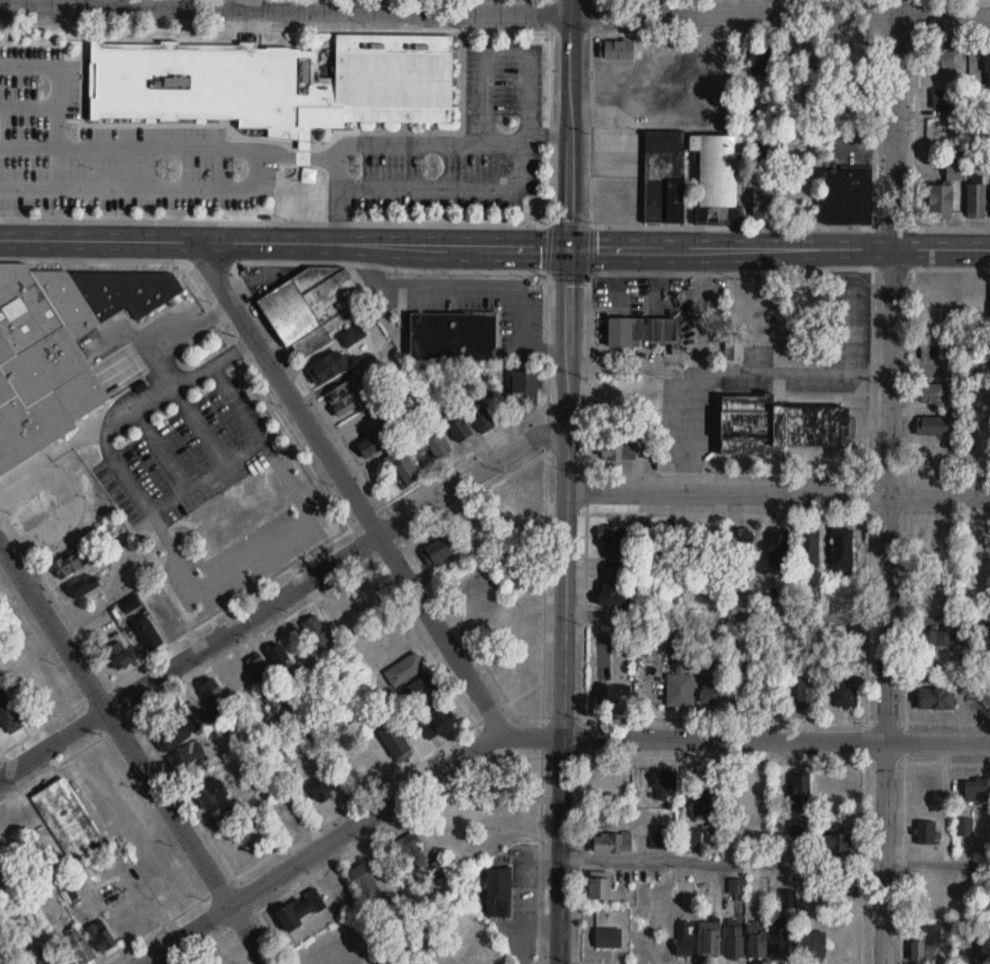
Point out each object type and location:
road: (247, 4)
road: (494, 11)
road: (592, 16)
road: (876, 17)
road: (495, 31)
road: (501, 49)
building: (616, 51)
building: (945, 59)
building: (754, 67)
building: (987, 69)
road: (58, 79)
building: (274, 84)
building: (946, 100)
road: (570, 123)
road: (875, 148)
building: (765, 150)
road: (914, 151)
road: (287, 155)
building: (954, 172)
building: (690, 178)
road: (146, 186)
road: (450, 186)
building: (848, 199)
road: (336, 201)
building: (976, 202)
building: (764, 203)
building: (940, 203)
road: (284, 244)
road: (779, 247)
road: (873, 267)
road: (632, 271)
road: (432, 286)
building: (135, 293)
building: (311, 306)
building: (640, 330)
building: (453, 336)
building: (734, 347)
building: (42, 361)
building: (326, 367)
road: (161, 368)
road: (631, 368)
road: (731, 369)
road: (940, 369)
building: (524, 386)
building: (488, 387)
building: (931, 393)
building: (342, 397)
building: (383, 410)
road: (278, 415)
building: (481, 417)
road: (199, 421)
road: (100, 424)
road: (546, 425)
building: (777, 425)
building: (933, 425)
building: (373, 443)
road: (160, 446)
building: (439, 446)
building: (618, 451)
building: (985, 458)
building: (403, 465)
road: (950, 474)
road: (194, 481)
road: (890, 482)
road: (349, 487)
road: (778, 494)
building: (516, 495)
road: (66, 503)
road: (288, 503)
road: (627, 510)
road: (137, 518)
building: (614, 538)
building: (741, 543)
building: (778, 546)
building: (843, 548)
building: (808, 549)
building: (436, 551)
building: (216, 560)
building: (67, 564)
building: (83, 586)
road: (56, 592)
building: (610, 594)
road: (867, 595)
road: (281, 596)
road: (907, 596)
building: (843, 600)
road: (564, 605)
road: (585, 612)
building: (166, 618)
building: (316, 632)
building: (147, 633)
building: (932, 640)
building: (847, 644)
building: (279, 655)
building: (118, 656)
building: (405, 670)
building: (263, 673)
building: (680, 678)
building: (713, 679)
building: (241, 681)
building: (420, 689)
building: (212, 692)
building: (610, 693)
building: (807, 694)
building: (842, 695)
building: (781, 697)
building: (936, 698)
building: (8, 714)
building: (436, 720)
road: (927, 720)
building: (183, 729)
road: (465, 729)
road: (775, 738)
building: (393, 742)
road: (133, 753)
road: (624, 756)
building: (609, 780)
building: (665, 782)
building: (322, 787)
building: (977, 790)
building: (800, 793)
building: (211, 794)
building: (753, 794)
building: (706, 797)
building: (227, 814)
road: (202, 821)
building: (69, 822)
road: (344, 830)
building: (927, 833)
road: (540, 836)
building: (798, 838)
building: (676, 840)
road: (863, 841)
building: (612, 842)
road: (904, 842)
building: (836, 844)
building: (413, 848)
road: (720, 863)
road: (935, 863)
building: (363, 881)
building: (844, 886)
building: (599, 889)
building: (498, 893)
building: (301, 910)
building: (476, 925)
building: (101, 937)
building: (608, 938)
building: (757, 939)
building: (685, 940)
building: (708, 940)
building: (779, 940)
building: (734, 942)
building: (984, 943)
building: (813, 944)
building: (927, 946)
building: (79, 948)
building: (477, 956)
building: (44, 958)
building: (333, 960)
road: (532, 960)
road: (578, 962)
road: (664, 962)

